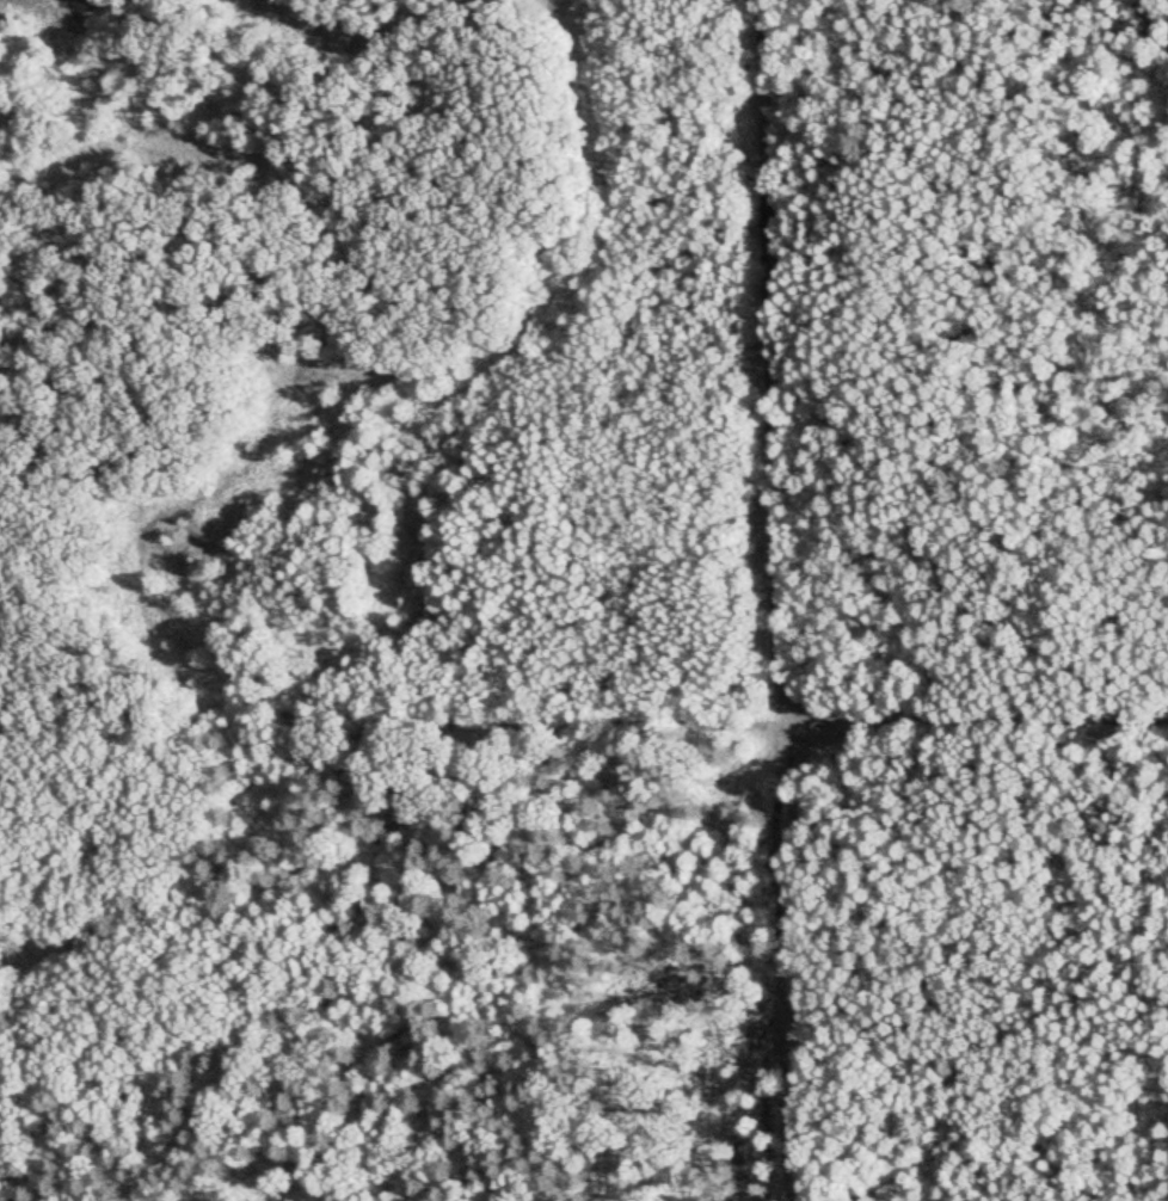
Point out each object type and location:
road: (370, 38)
road: (776, 363)
road: (982, 722)

